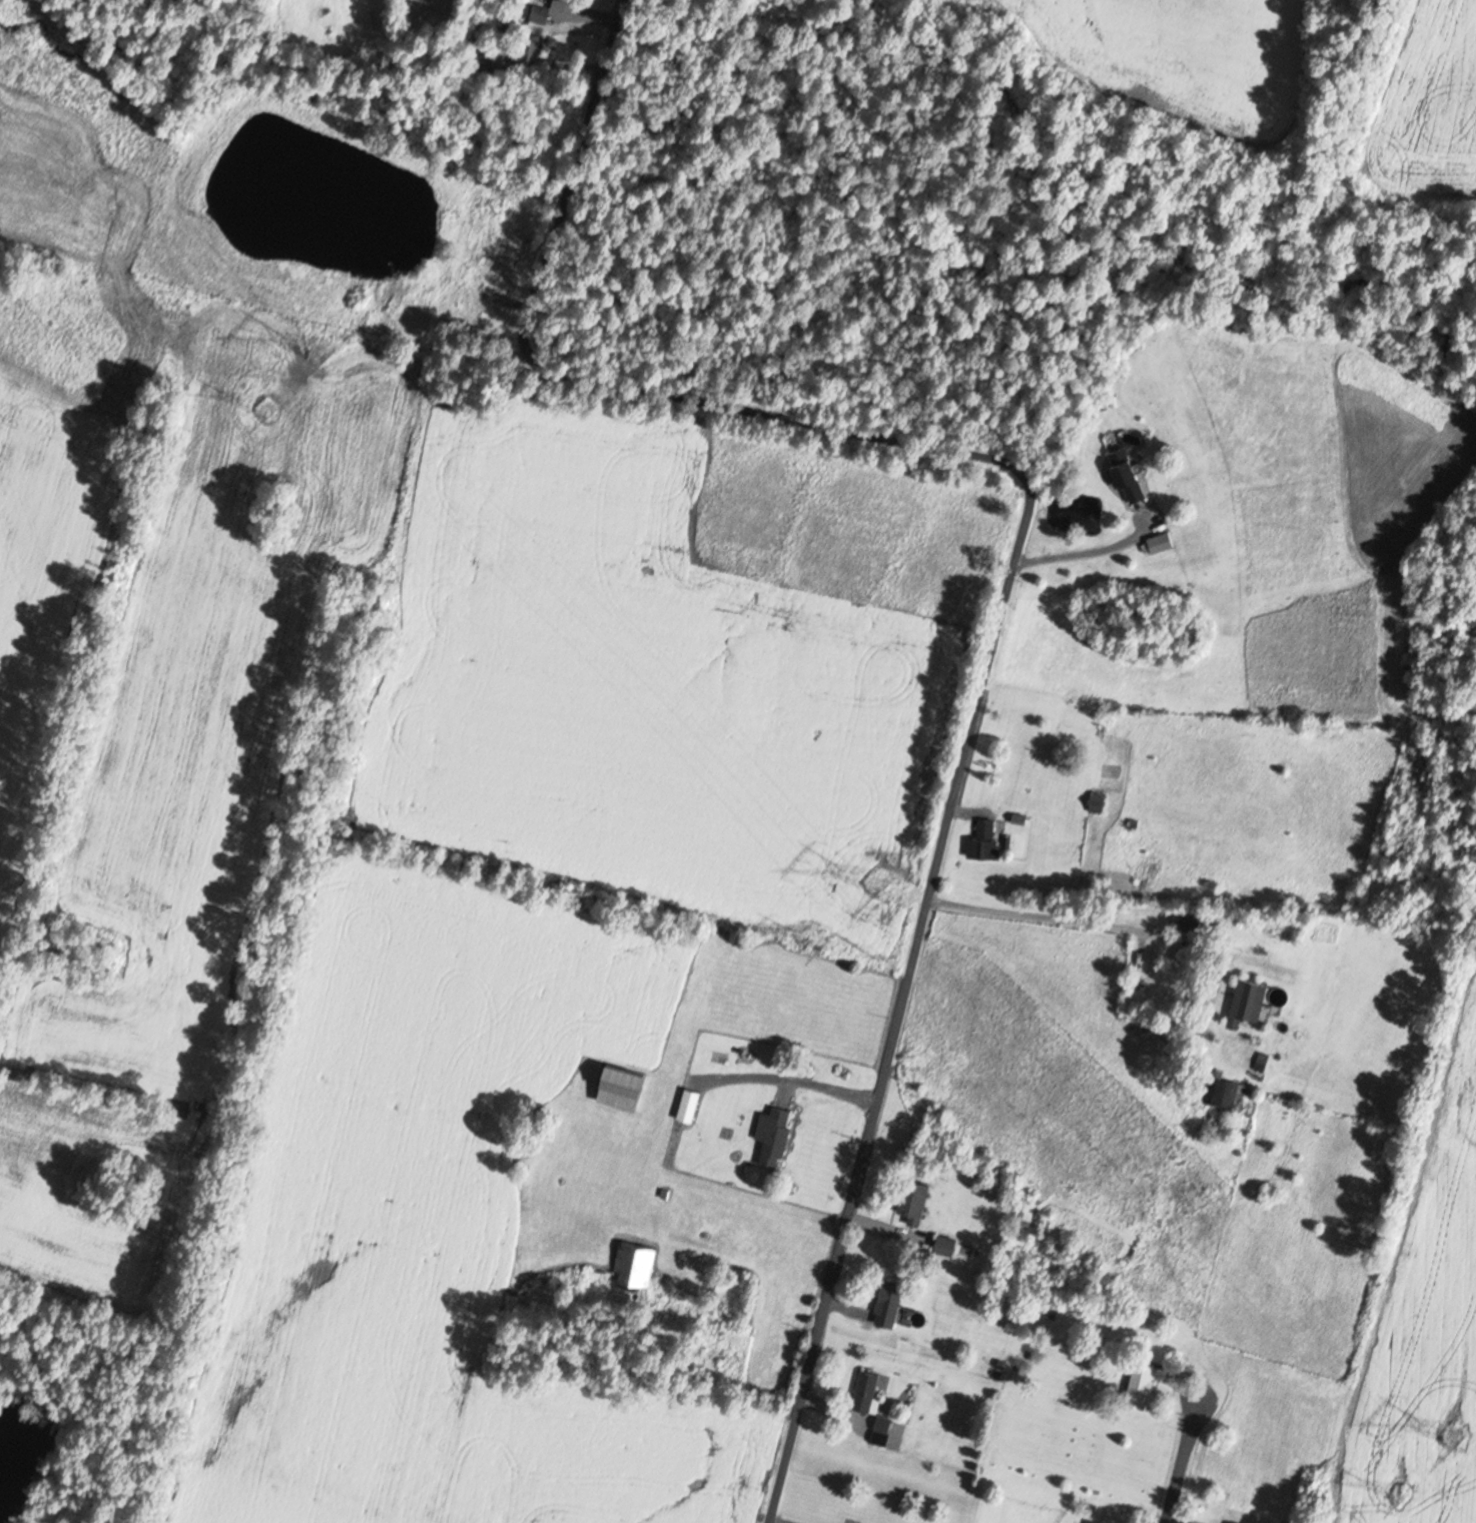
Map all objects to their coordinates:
building: (541, 15)
building: (528, 50)
building: (491, 62)
building: (502, 265)
building: (493, 296)
building: (395, 302)
power tower: (329, 353)
power tower: (268, 410)
building: (1130, 475)
road: (1012, 574)
building: (1098, 802)
building: (986, 841)
power tower: (878, 882)
power tower: (825, 941)
building: (1251, 998)
building: (1263, 1063)
building: (627, 1080)
building: (1227, 1094)
building: (690, 1104)
building: (775, 1135)
building: (915, 1201)
building: (635, 1263)
building: (890, 1305)
building: (1142, 1384)
building: (868, 1391)
building: (885, 1424)
power tower: (1456, 1435)
road: (1183, 1457)
power tower: (1403, 1495)
building: (1092, 1522)

